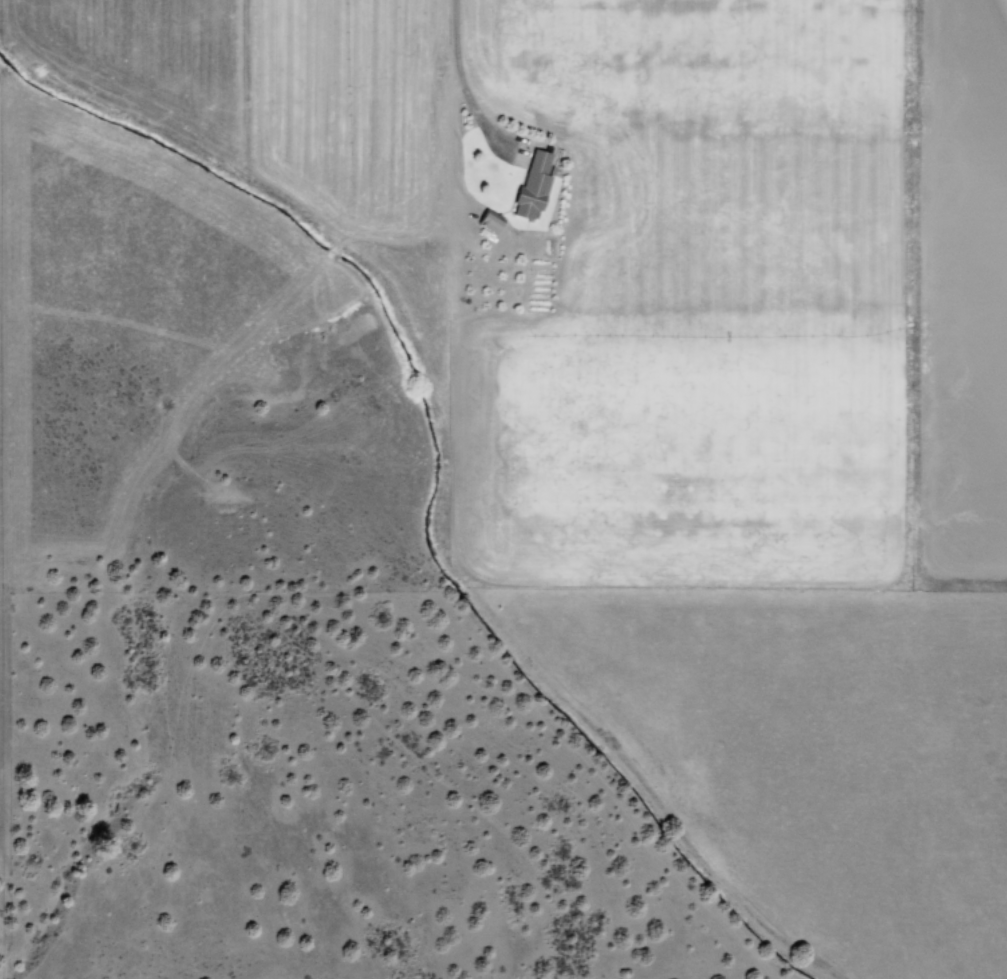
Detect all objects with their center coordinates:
building: (533, 184)

